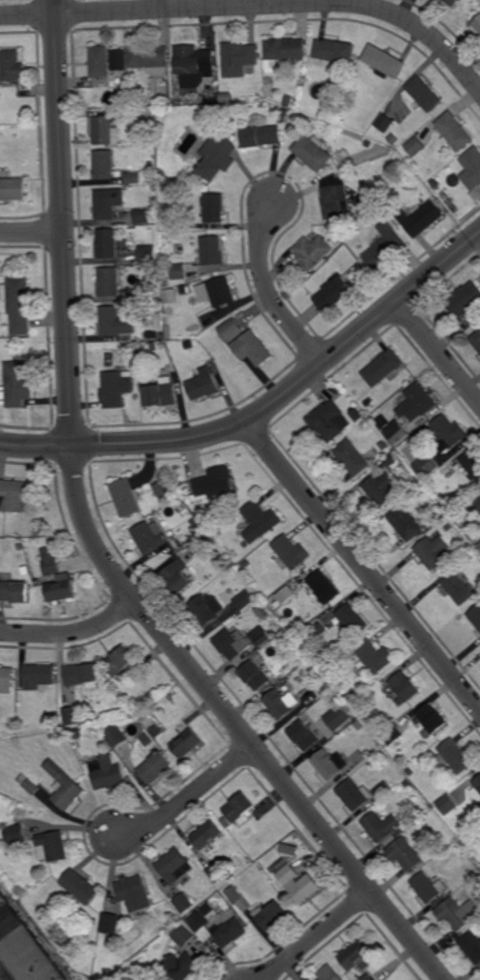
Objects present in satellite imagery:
building: (452, 2)
road: (255, 5)
building: (477, 25)
building: (286, 51)
building: (336, 52)
building: (148, 59)
building: (239, 59)
building: (118, 61)
building: (100, 62)
building: (194, 62)
building: (385, 63)
building: (14, 66)
building: (422, 95)
building: (288, 101)
building: (215, 109)
building: (285, 114)
building: (385, 123)
building: (106, 132)
building: (455, 133)
building: (260, 137)
building: (393, 138)
building: (151, 140)
building: (369, 145)
building: (415, 147)
building: (313, 153)
building: (216, 157)
building: (105, 165)
building: (472, 168)
building: (133, 177)
building: (435, 184)
building: (12, 186)
building: (336, 198)
building: (109, 201)
building: (360, 201)
building: (214, 207)
building: (143, 214)
building: (421, 217)
road: (32, 232)
building: (108, 242)
building: (387, 246)
building: (213, 250)
building: (312, 251)
building: (148, 253)
building: (178, 272)
building: (109, 280)
building: (166, 282)
building: (183, 289)
building: (220, 291)
road: (267, 292)
building: (336, 293)
building: (141, 294)
building: (465, 299)
building: (20, 303)
building: (207, 319)
building: (113, 321)
building: (233, 331)
building: (152, 335)
building: (476, 339)
building: (153, 346)
building: (252, 349)
road: (439, 351)
building: (208, 357)
building: (384, 367)
building: (21, 383)
building: (203, 385)
building: (116, 387)
building: (161, 392)
building: (369, 402)
building: (418, 402)
road: (266, 408)
building: (357, 415)
building: (330, 421)
building: (446, 433)
building: (400, 435)
building: (384, 446)
building: (356, 457)
building: (392, 459)
building: (471, 465)
building: (426, 466)
building: (215, 484)
building: (163, 489)
building: (381, 489)
building: (15, 494)
building: (126, 497)
building: (477, 501)
building: (443, 514)
building: (232, 518)
building: (260, 521)
building: (405, 523)
building: (449, 527)
building: (198, 528)
building: (150, 537)
building: (202, 542)
building: (21, 546)
building: (479, 546)
building: (479, 547)
road: (97, 549)
building: (292, 552)
building: (434, 553)
building: (51, 561)
building: (225, 564)
building: (246, 564)
building: (459, 565)
road: (362, 568)
building: (28, 571)
building: (18, 573)
building: (177, 577)
building: (38, 581)
building: (63, 588)
building: (325, 589)
building: (459, 589)
building: (17, 592)
building: (287, 595)
building: (245, 600)
building: (207, 609)
building: (263, 613)
building: (476, 616)
building: (353, 620)
building: (317, 629)
road: (71, 633)
building: (284, 636)
building: (239, 643)
building: (372, 659)
building: (123, 663)
building: (311, 667)
building: (317, 672)
building: (40, 676)
building: (83, 676)
building: (255, 676)
building: (8, 680)
building: (402, 689)
building: (334, 699)
building: (366, 700)
building: (282, 704)
building: (358, 706)
building: (72, 716)
building: (338, 718)
building: (431, 720)
building: (55, 725)
building: (359, 726)
building: (157, 731)
building: (77, 735)
building: (391, 735)
building: (116, 736)
building: (305, 737)
building: (147, 741)
building: (186, 743)
building: (455, 757)
building: (331, 764)
building: (155, 769)
building: (409, 773)
building: (106, 774)
building: (408, 783)
building: (31, 784)
building: (66, 787)
building: (476, 790)
road: (190, 791)
building: (381, 791)
building: (354, 795)
building: (447, 805)
building: (241, 808)
building: (227, 824)
building: (455, 825)
building: (382, 826)
building: (19, 835)
building: (207, 836)
building: (290, 843)
building: (54, 848)
building: (404, 855)
building: (175, 867)
building: (473, 869)
building: (219, 873)
building: (300, 885)
building: (81, 887)
building: (428, 888)
building: (134, 894)
building: (236, 896)
building: (185, 905)
building: (457, 913)
building: (272, 915)
building: (93, 921)
building: (110, 924)
building: (234, 925)
building: (184, 935)
road: (314, 935)
building: (112, 941)
building: (26, 945)
building: (471, 946)
building: (358, 956)
building: (182, 965)
building: (331, 973)
building: (368, 977)

